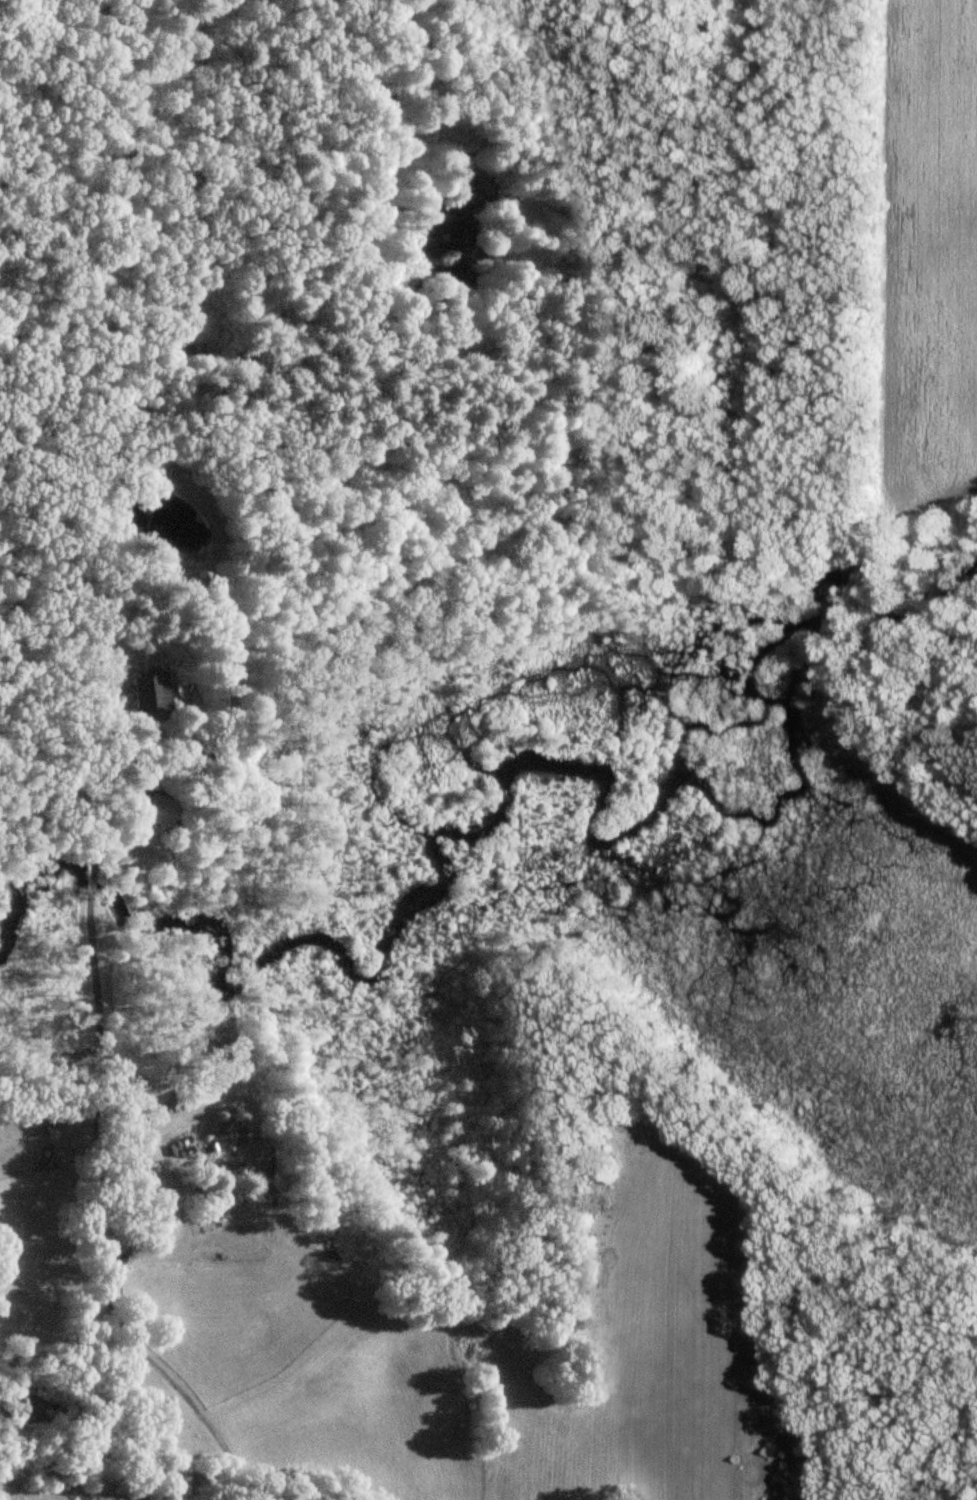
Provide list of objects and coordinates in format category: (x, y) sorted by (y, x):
building: (151, 692)
road: (95, 723)
building: (153, 808)
road: (92, 884)
building: (189, 1099)
road: (100, 1235)

